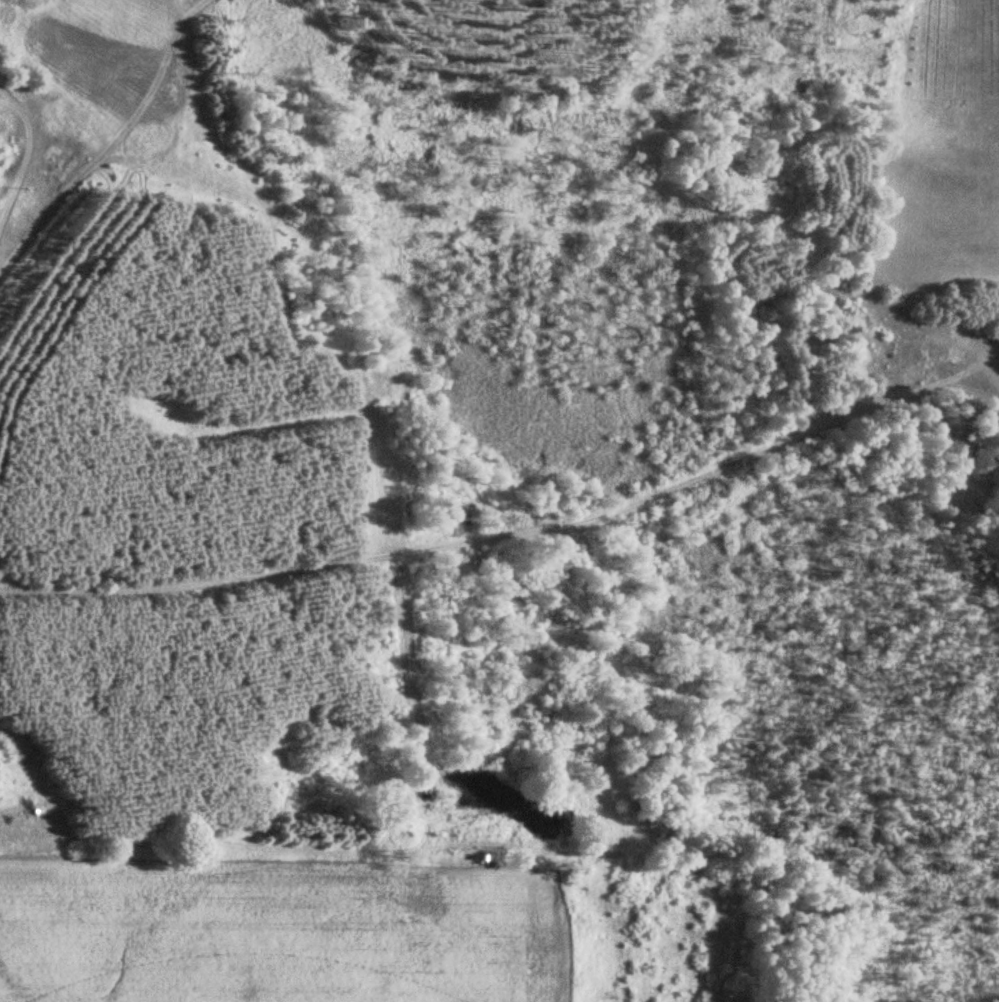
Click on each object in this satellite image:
road: (491, 543)

